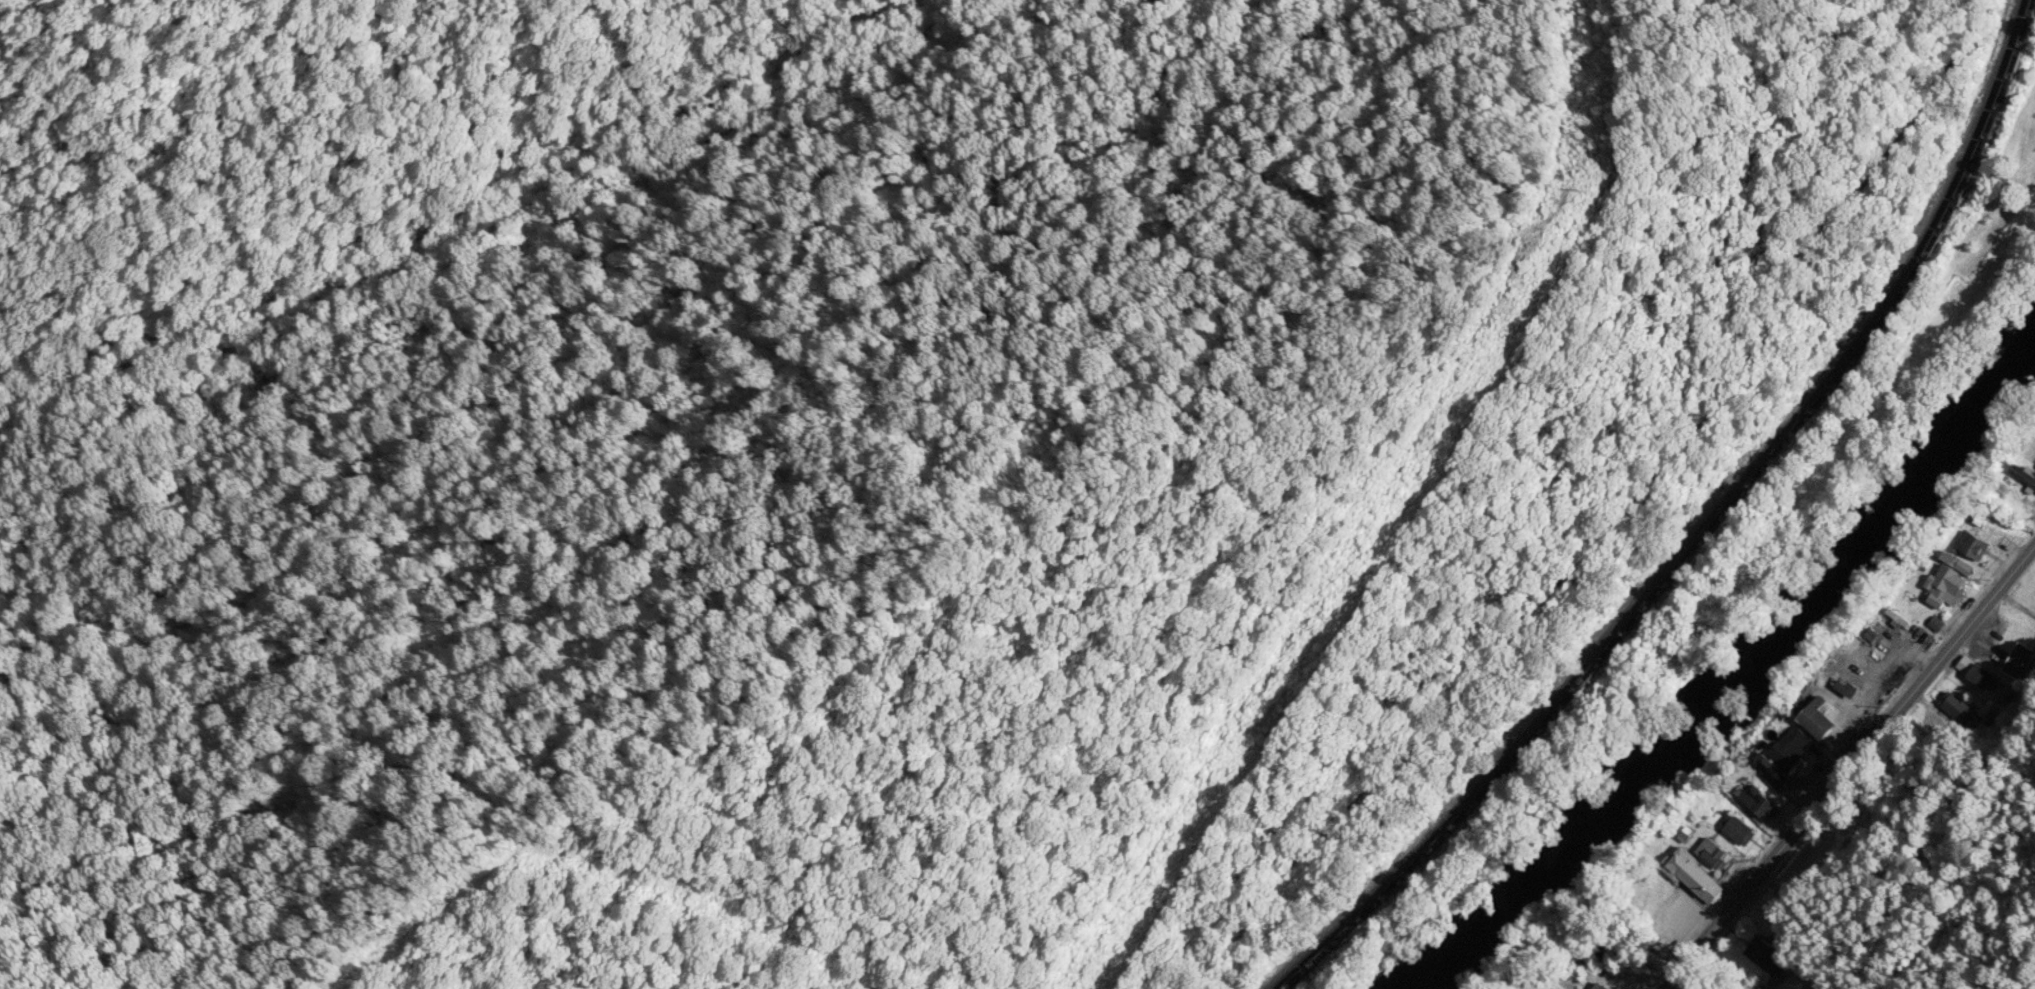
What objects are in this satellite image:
power tower: (1589, 189)
road: (1613, 522)
railway: (1700, 536)
building: (1974, 545)
building: (1950, 583)
building: (2017, 662)
building: (1979, 675)
river: (1740, 681)
building: (1849, 688)
building: (1821, 721)
building: (1791, 750)
road: (1846, 761)
power tower: (1232, 767)
building: (1771, 773)
building: (1760, 803)
building: (1738, 830)
building: (1711, 853)
building: (1696, 874)
building: (1765, 954)
road: (1694, 980)
building: (1601, 986)

